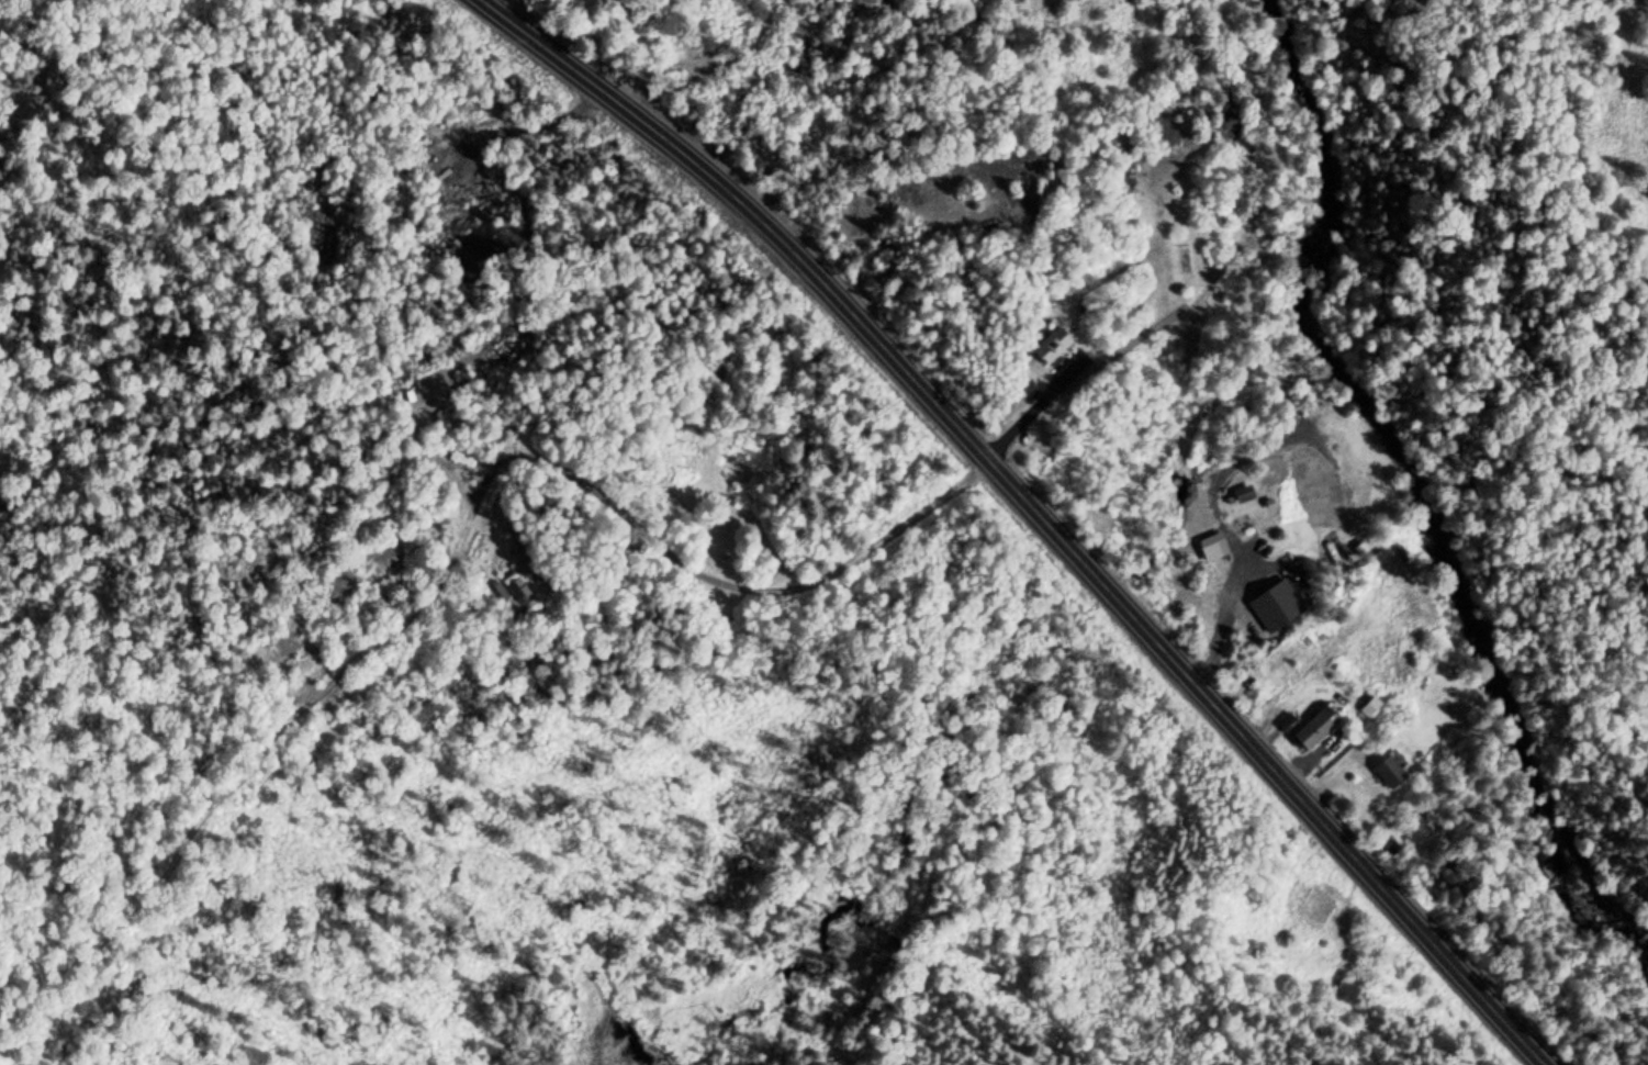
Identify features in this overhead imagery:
river: (1346, 158)
building: (1054, 347)
building: (1244, 494)
road: (1034, 511)
building: (1212, 547)
building: (1277, 606)
river: (1510, 615)
building: (1311, 732)
building: (1391, 773)

